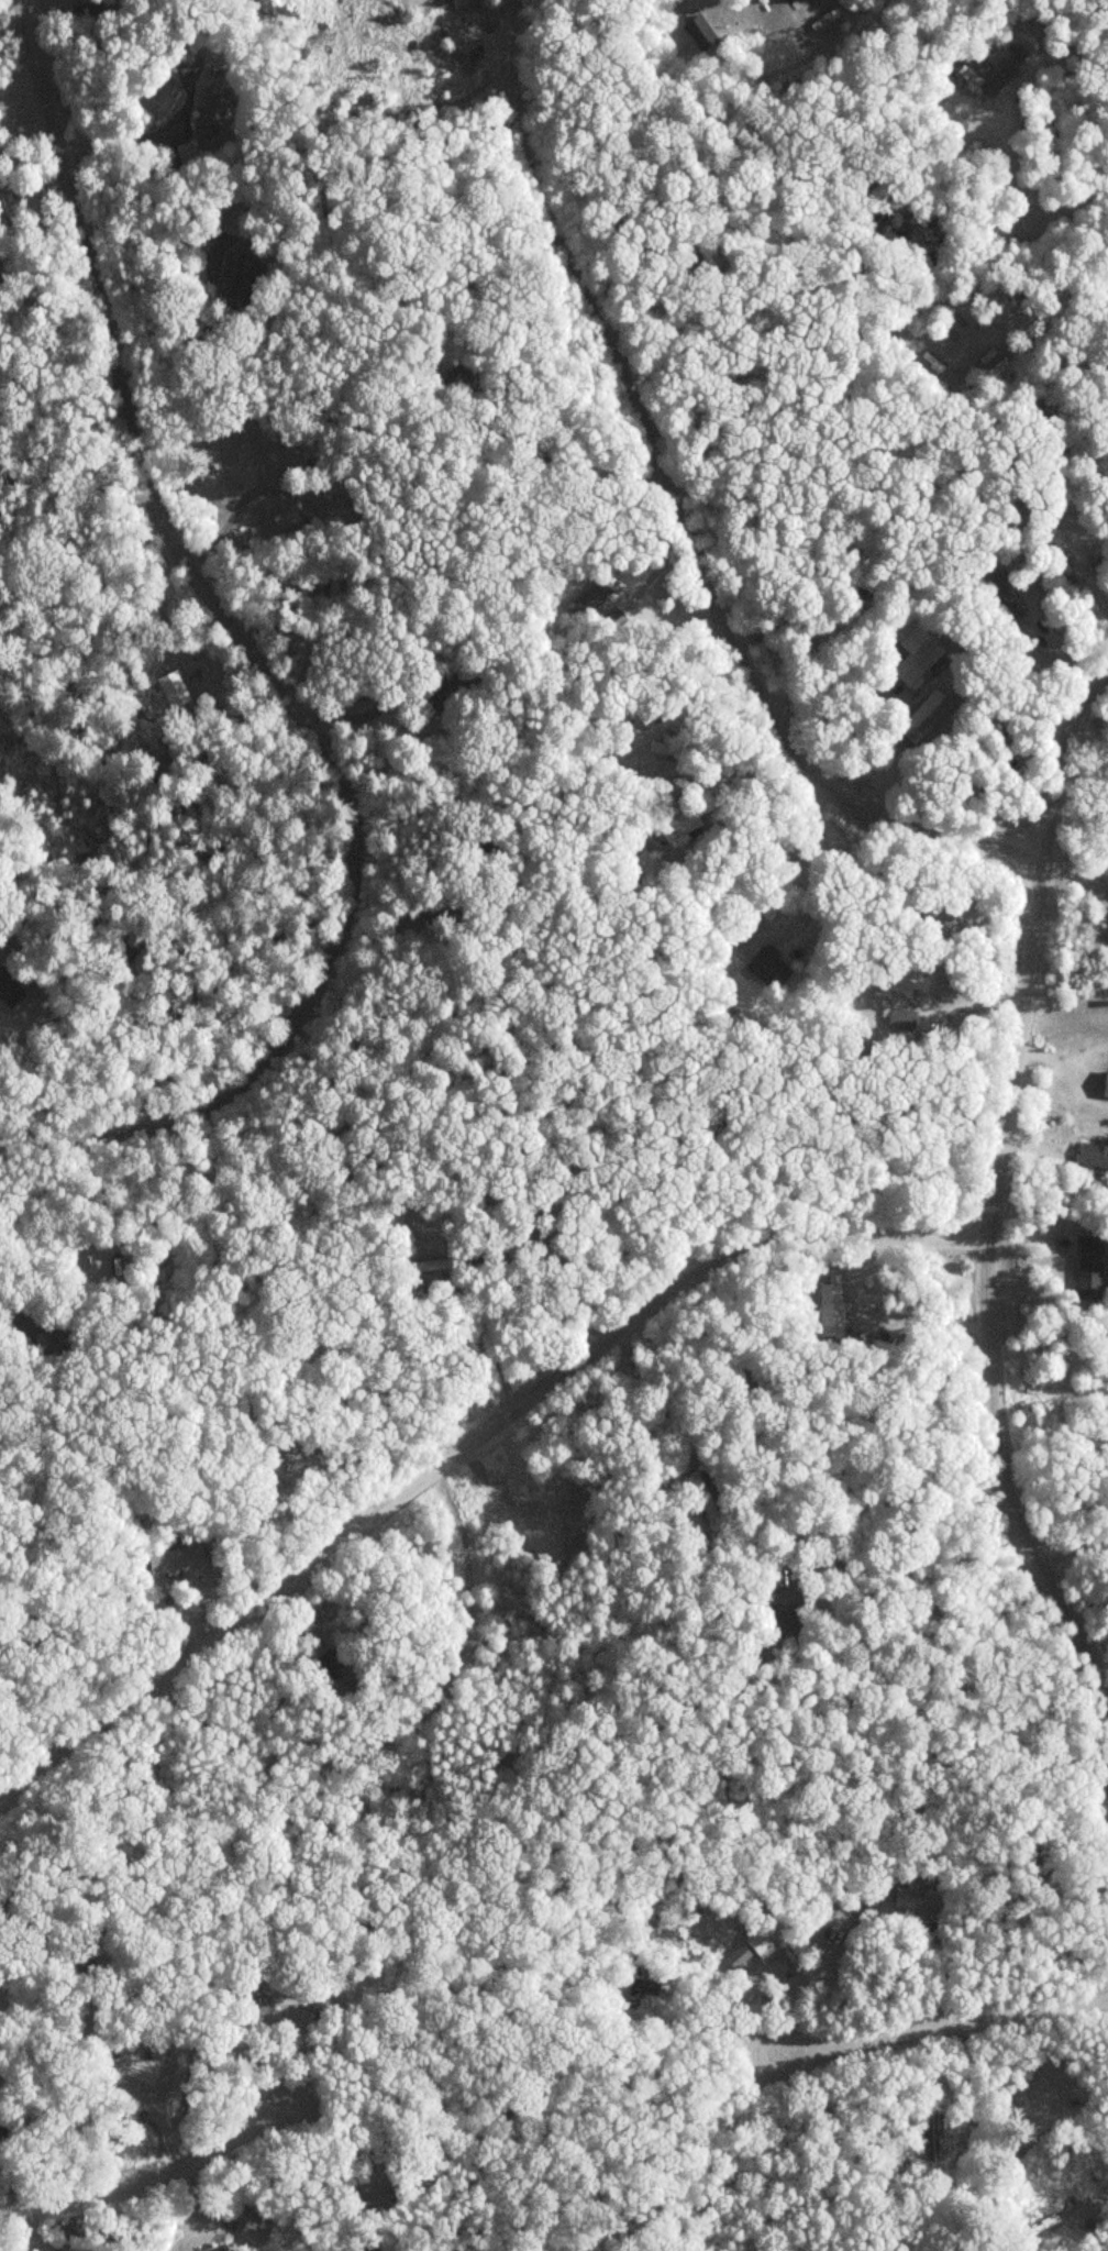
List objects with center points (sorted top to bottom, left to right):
building: (791, 1)
building: (88, 12)
building: (700, 31)
building: (1007, 70)
building: (973, 78)
road: (23, 91)
building: (214, 109)
building: (190, 152)
building: (8, 201)
road: (1042, 217)
building: (241, 277)
building: (468, 383)
building: (311, 434)
building: (484, 456)
building: (335, 482)
road: (677, 510)
building: (287, 517)
building: (1060, 556)
building: (598, 593)
building: (1012, 596)
building: (917, 650)
road: (269, 670)
building: (429, 698)
building: (927, 714)
building: (998, 736)
road: (1089, 737)
building: (686, 820)
building: (649, 863)
building: (921, 908)
building: (734, 934)
building: (771, 965)
building: (906, 980)
building: (10, 987)
building: (1106, 1084)
building: (1094, 1154)
road: (991, 1198)
building: (439, 1264)
building: (1090, 1277)
building: (842, 1312)
building: (62, 1336)
road: (664, 1397)
road: (462, 1448)
building: (705, 1494)
road: (1070, 1545)
building: (178, 1557)
building: (791, 1624)
building: (334, 1664)
road: (414, 1717)
building: (1044, 1872)
building: (875, 1888)
building: (918, 1899)
building: (747, 1949)
building: (640, 1978)
building: (19, 1997)
building: (306, 1998)
building: (258, 2004)
road: (941, 2022)
building: (2, 2127)
building: (933, 2138)
road: (151, 2173)
building: (256, 2230)

